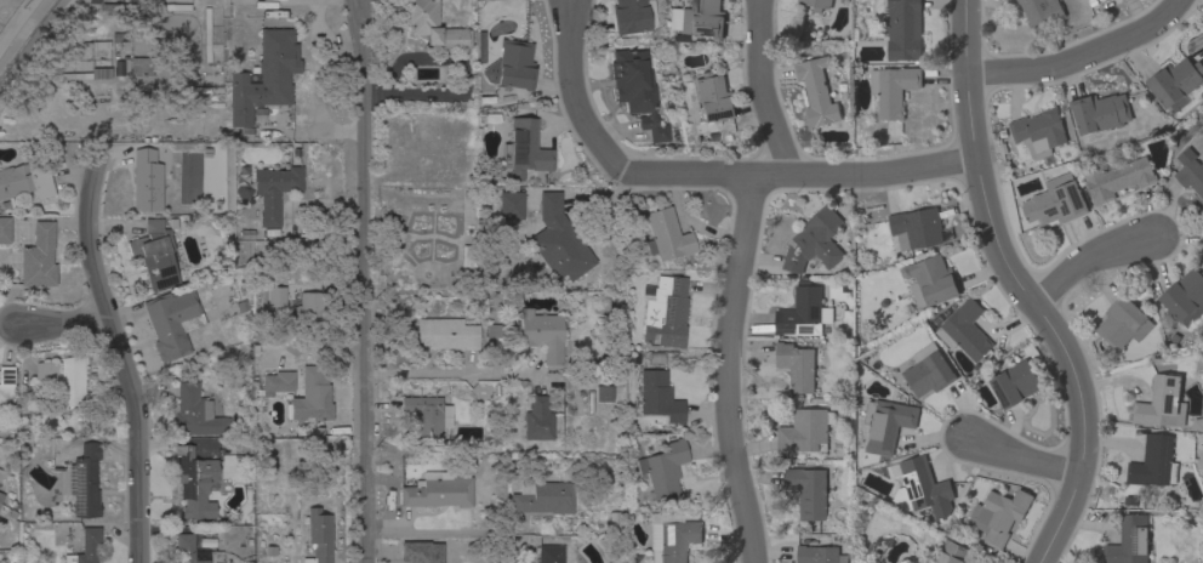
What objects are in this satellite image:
building: (816, 4)
building: (1040, 12)
building: (632, 16)
building: (701, 18)
building: (432, 25)
building: (903, 29)
road: (29, 41)
road: (1079, 56)
building: (511, 66)
building: (99, 73)
building: (139, 75)
building: (76, 76)
building: (264, 76)
road: (315, 81)
building: (1175, 81)
road: (764, 89)
building: (893, 89)
building: (637, 90)
building: (816, 91)
road: (575, 93)
building: (713, 98)
building: (1100, 112)
building: (1038, 131)
building: (524, 149)
building: (1190, 171)
road: (802, 175)
building: (1117, 177)
building: (25, 181)
building: (147, 181)
building: (270, 190)
building: (1055, 201)
building: (508, 206)
building: (1202, 209)
building: (917, 228)
building: (5, 231)
building: (665, 237)
building: (558, 240)
building: (814, 240)
building: (155, 255)
building: (36, 257)
road: (1087, 261)
road: (360, 280)
building: (930, 280)
road: (1024, 288)
building: (275, 297)
building: (1185, 297)
building: (309, 309)
building: (665, 312)
building: (803, 312)
road: (65, 323)
building: (172, 323)
building: (1122, 323)
road: (8, 328)
building: (964, 330)
building: (494, 331)
building: (445, 334)
building: (542, 334)
road: (125, 358)
building: (320, 359)
building: (796, 365)
road: (728, 369)
building: (45, 370)
building: (928, 371)
road: (450, 375)
building: (6, 376)
building: (1014, 383)
building: (73, 385)
building: (275, 385)
building: (604, 393)
building: (655, 397)
building: (312, 403)
building: (1161, 403)
building: (195, 413)
building: (422, 416)
building: (537, 420)
building: (886, 423)
building: (1197, 425)
building: (804, 431)
road: (1024, 457)
building: (1153, 462)
building: (662, 471)
building: (1, 473)
building: (84, 482)
building: (194, 483)
building: (919, 487)
building: (808, 490)
building: (437, 491)
building: (1, 496)
building: (542, 497)
building: (998, 514)
road: (443, 533)
building: (319, 536)
building: (671, 536)
building: (1128, 540)
building: (207, 545)
building: (85, 547)
building: (188, 550)
building: (269, 552)
building: (948, 553)
building: (549, 555)
building: (817, 555)

